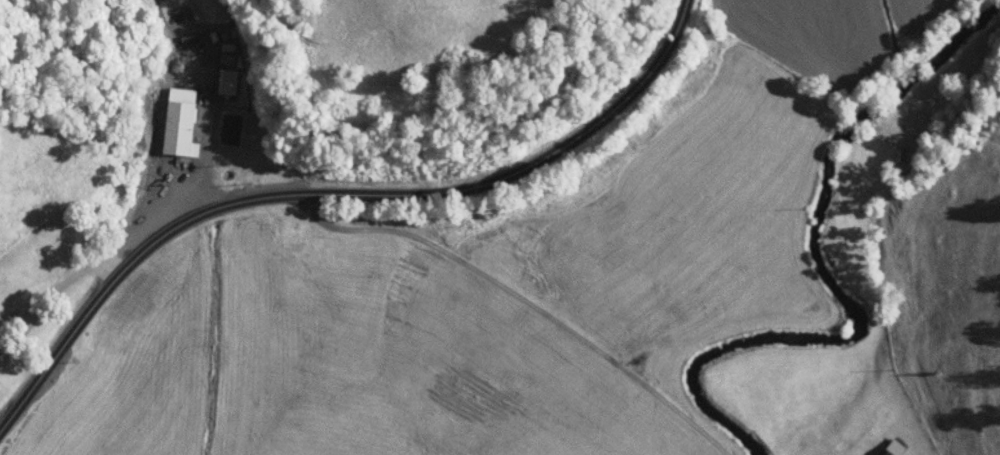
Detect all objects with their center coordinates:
building: (220, 81)
building: (174, 122)
road: (333, 192)
building: (280, 232)
road: (521, 297)
building: (883, 451)

